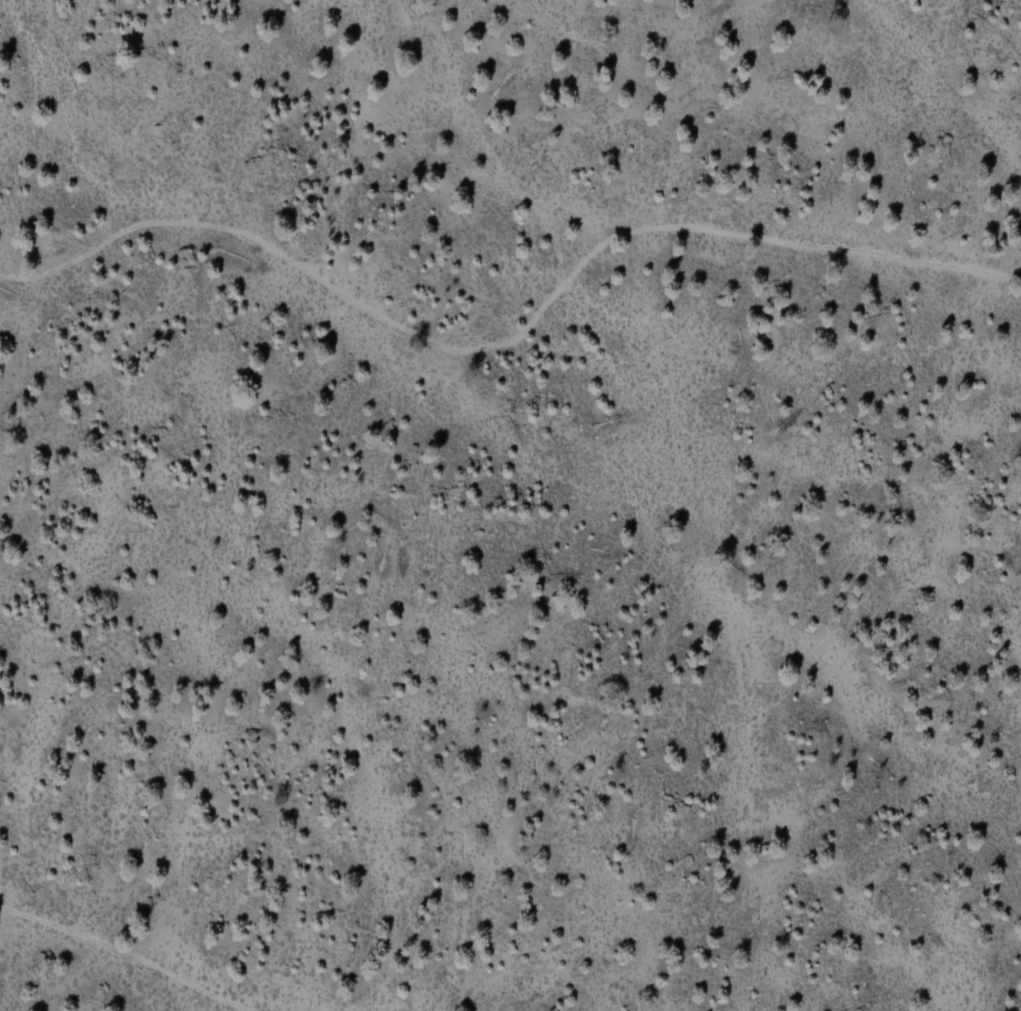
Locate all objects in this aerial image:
road: (943, 76)
road: (509, 339)
road: (127, 955)

